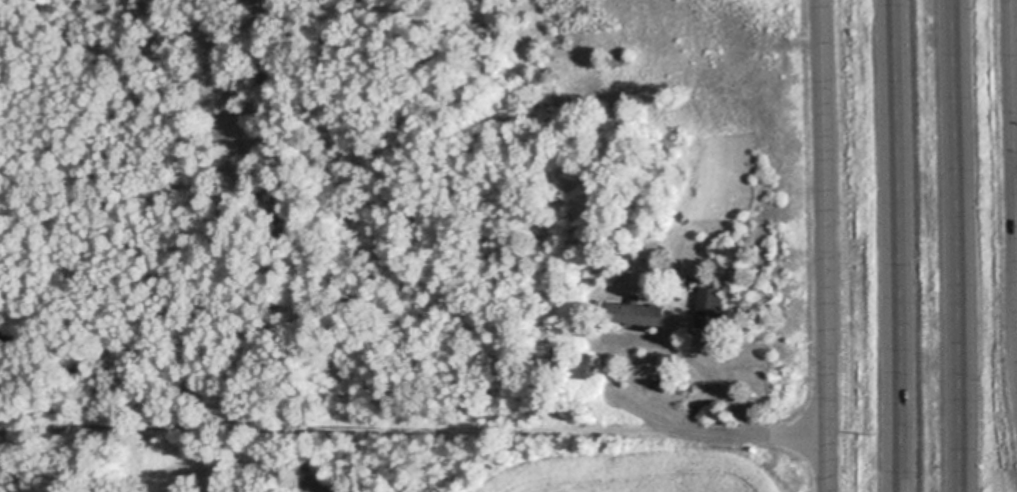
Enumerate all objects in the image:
road: (1014, 63)
road: (1015, 149)
road: (1013, 178)
road: (822, 246)
road: (895, 246)
road: (955, 246)
building: (637, 275)
building: (710, 307)
building: (636, 310)
building: (18, 336)
building: (584, 363)
building: (660, 381)
road: (615, 390)

